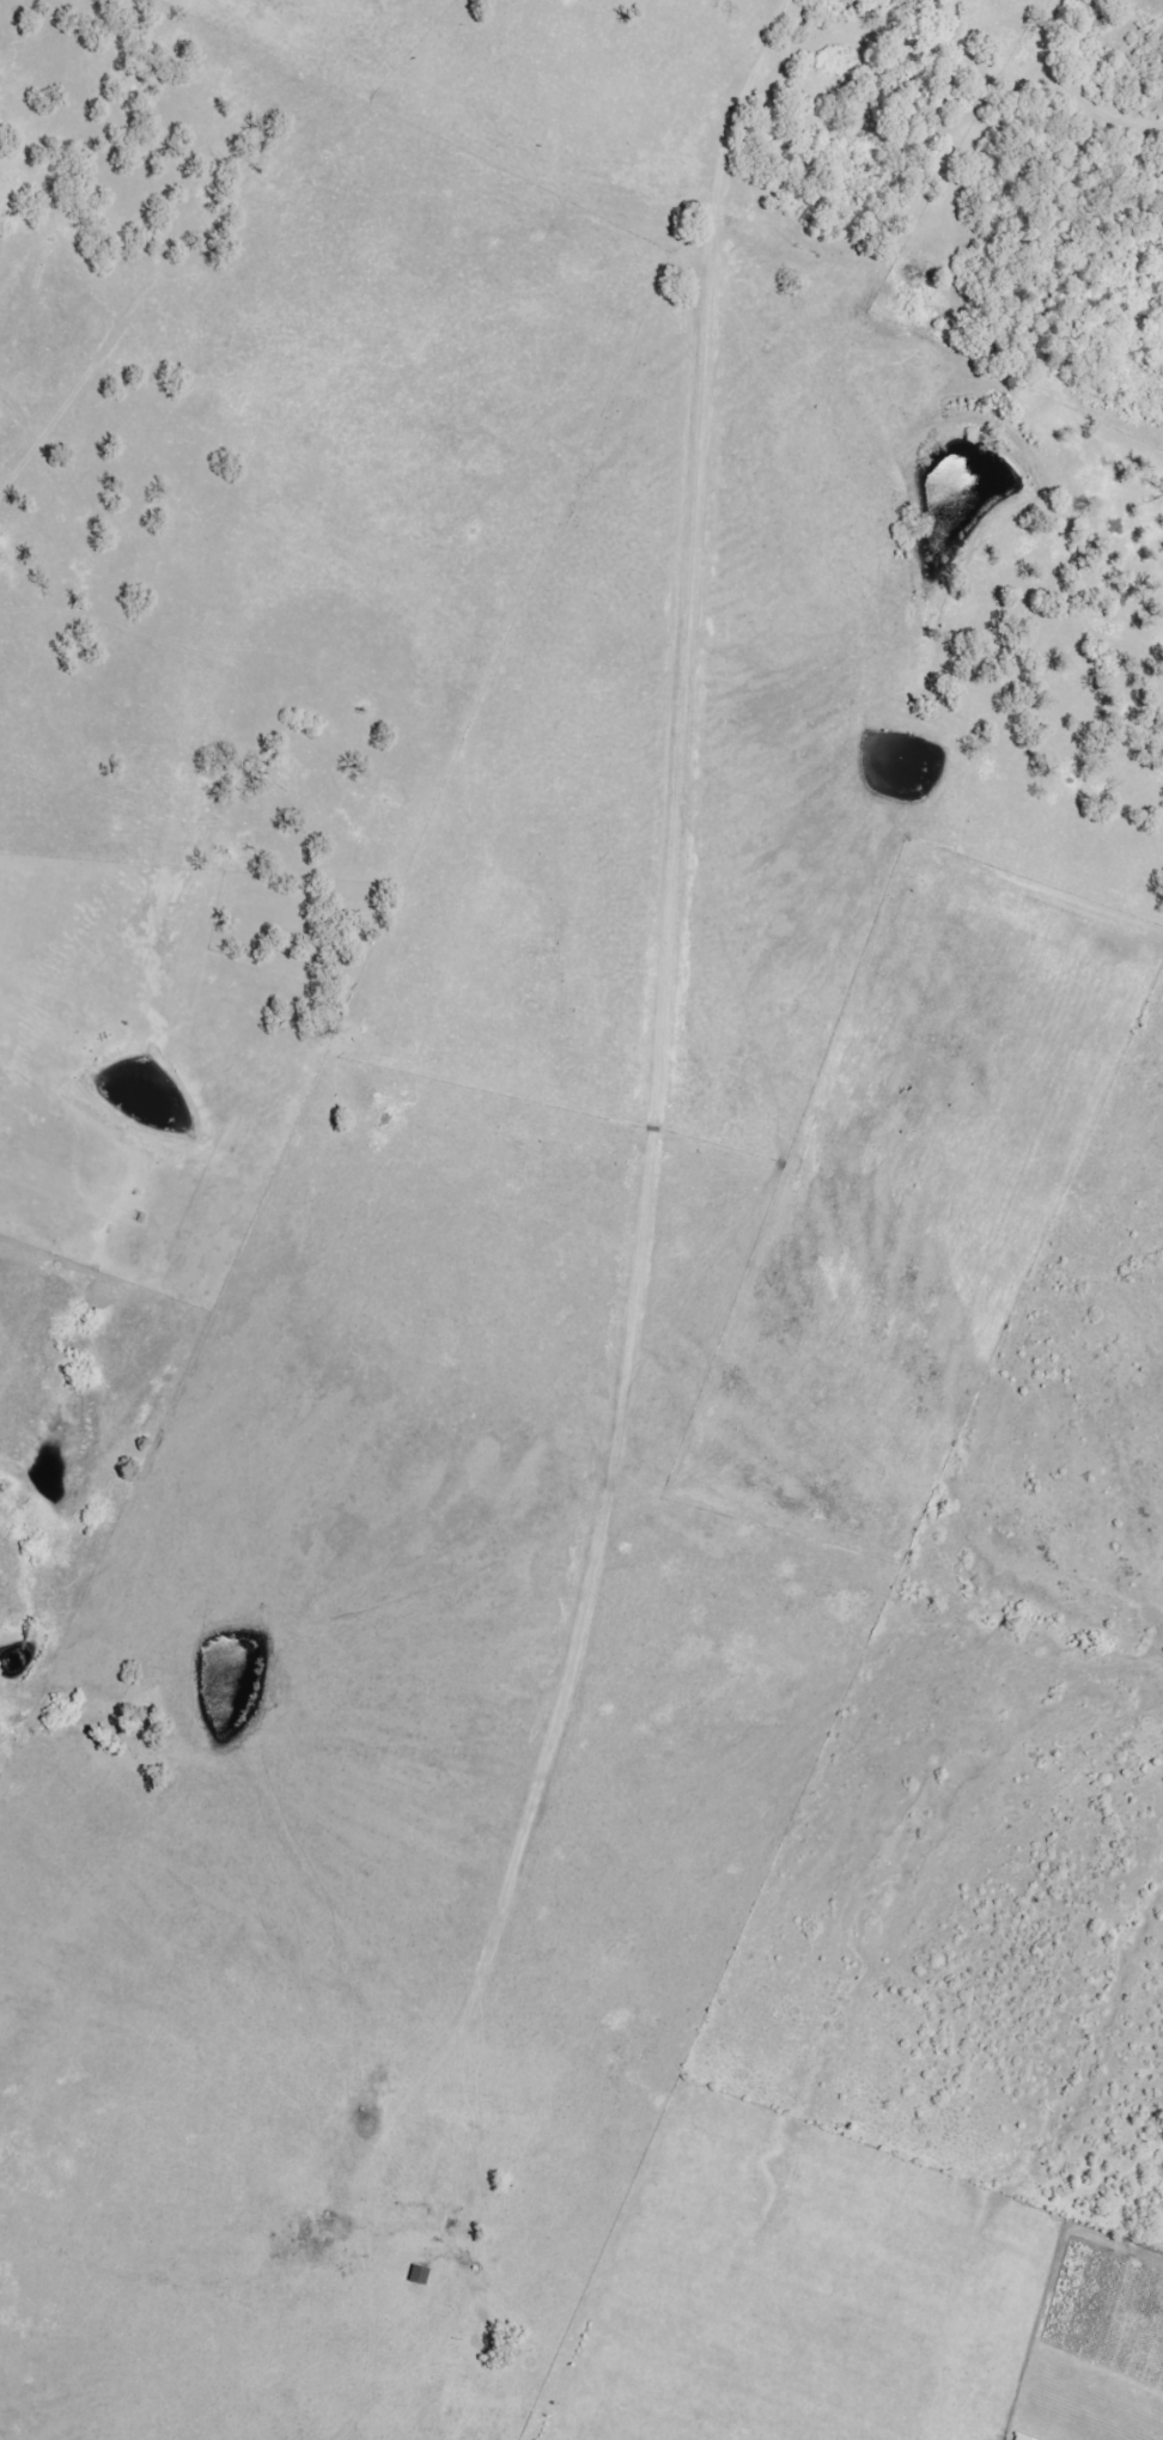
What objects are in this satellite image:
road: (526, 1696)
building: (421, 2276)

